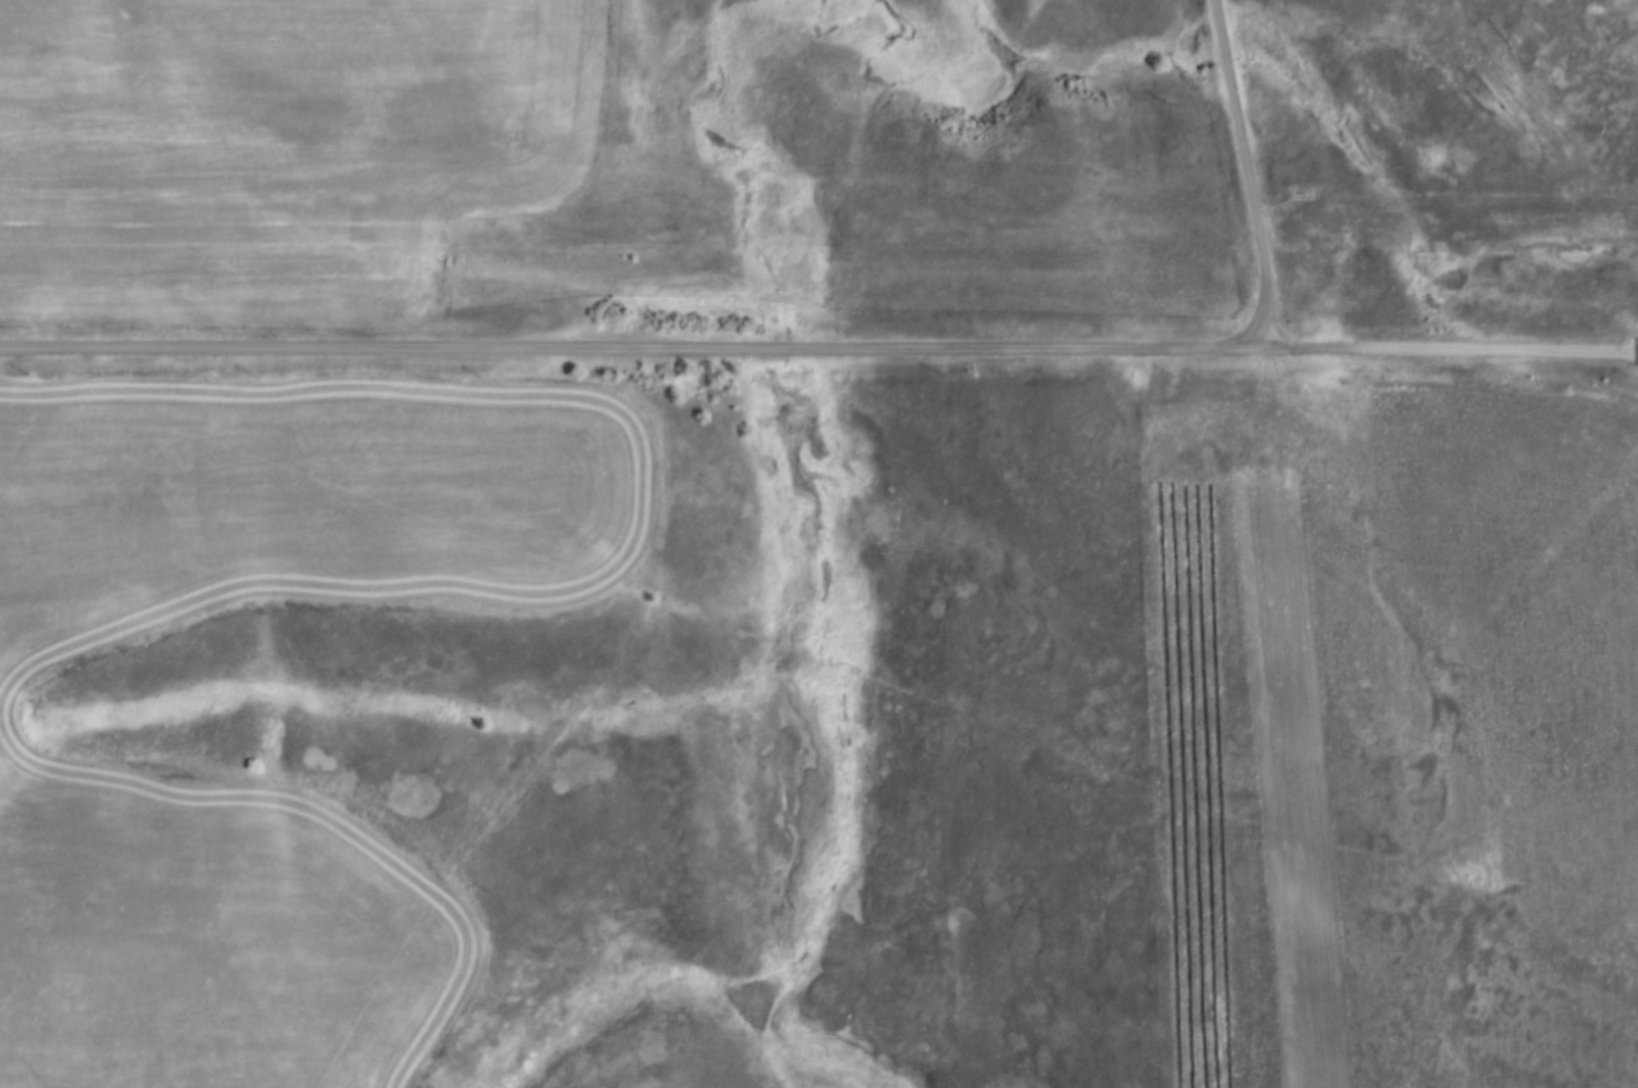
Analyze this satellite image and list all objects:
road: (1244, 178)
road: (818, 349)

